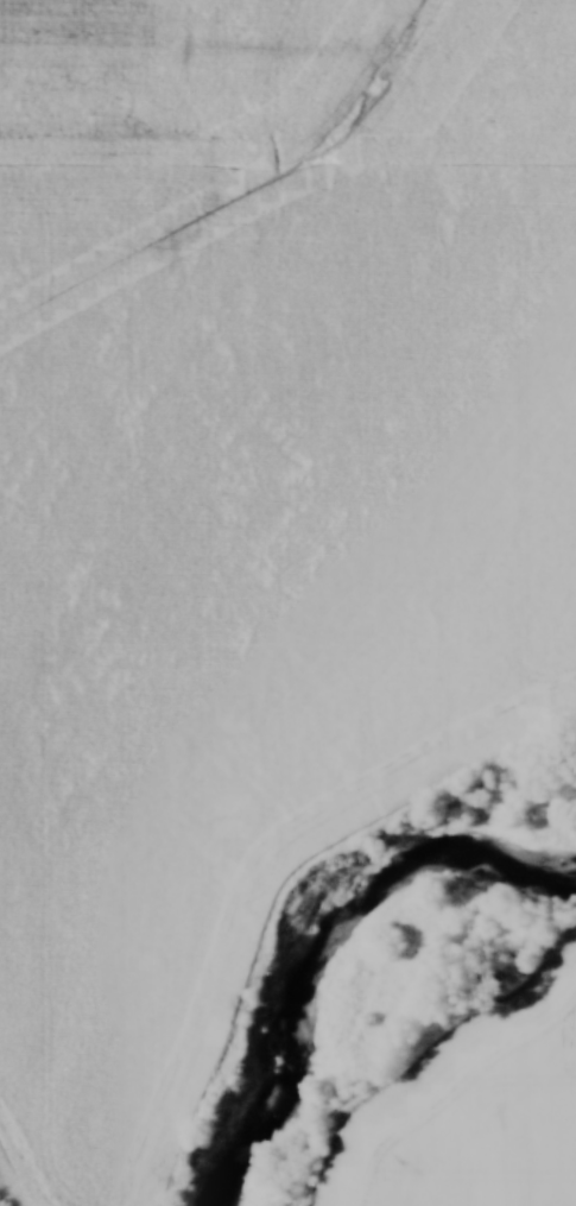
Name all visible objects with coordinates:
river: (335, 946)

